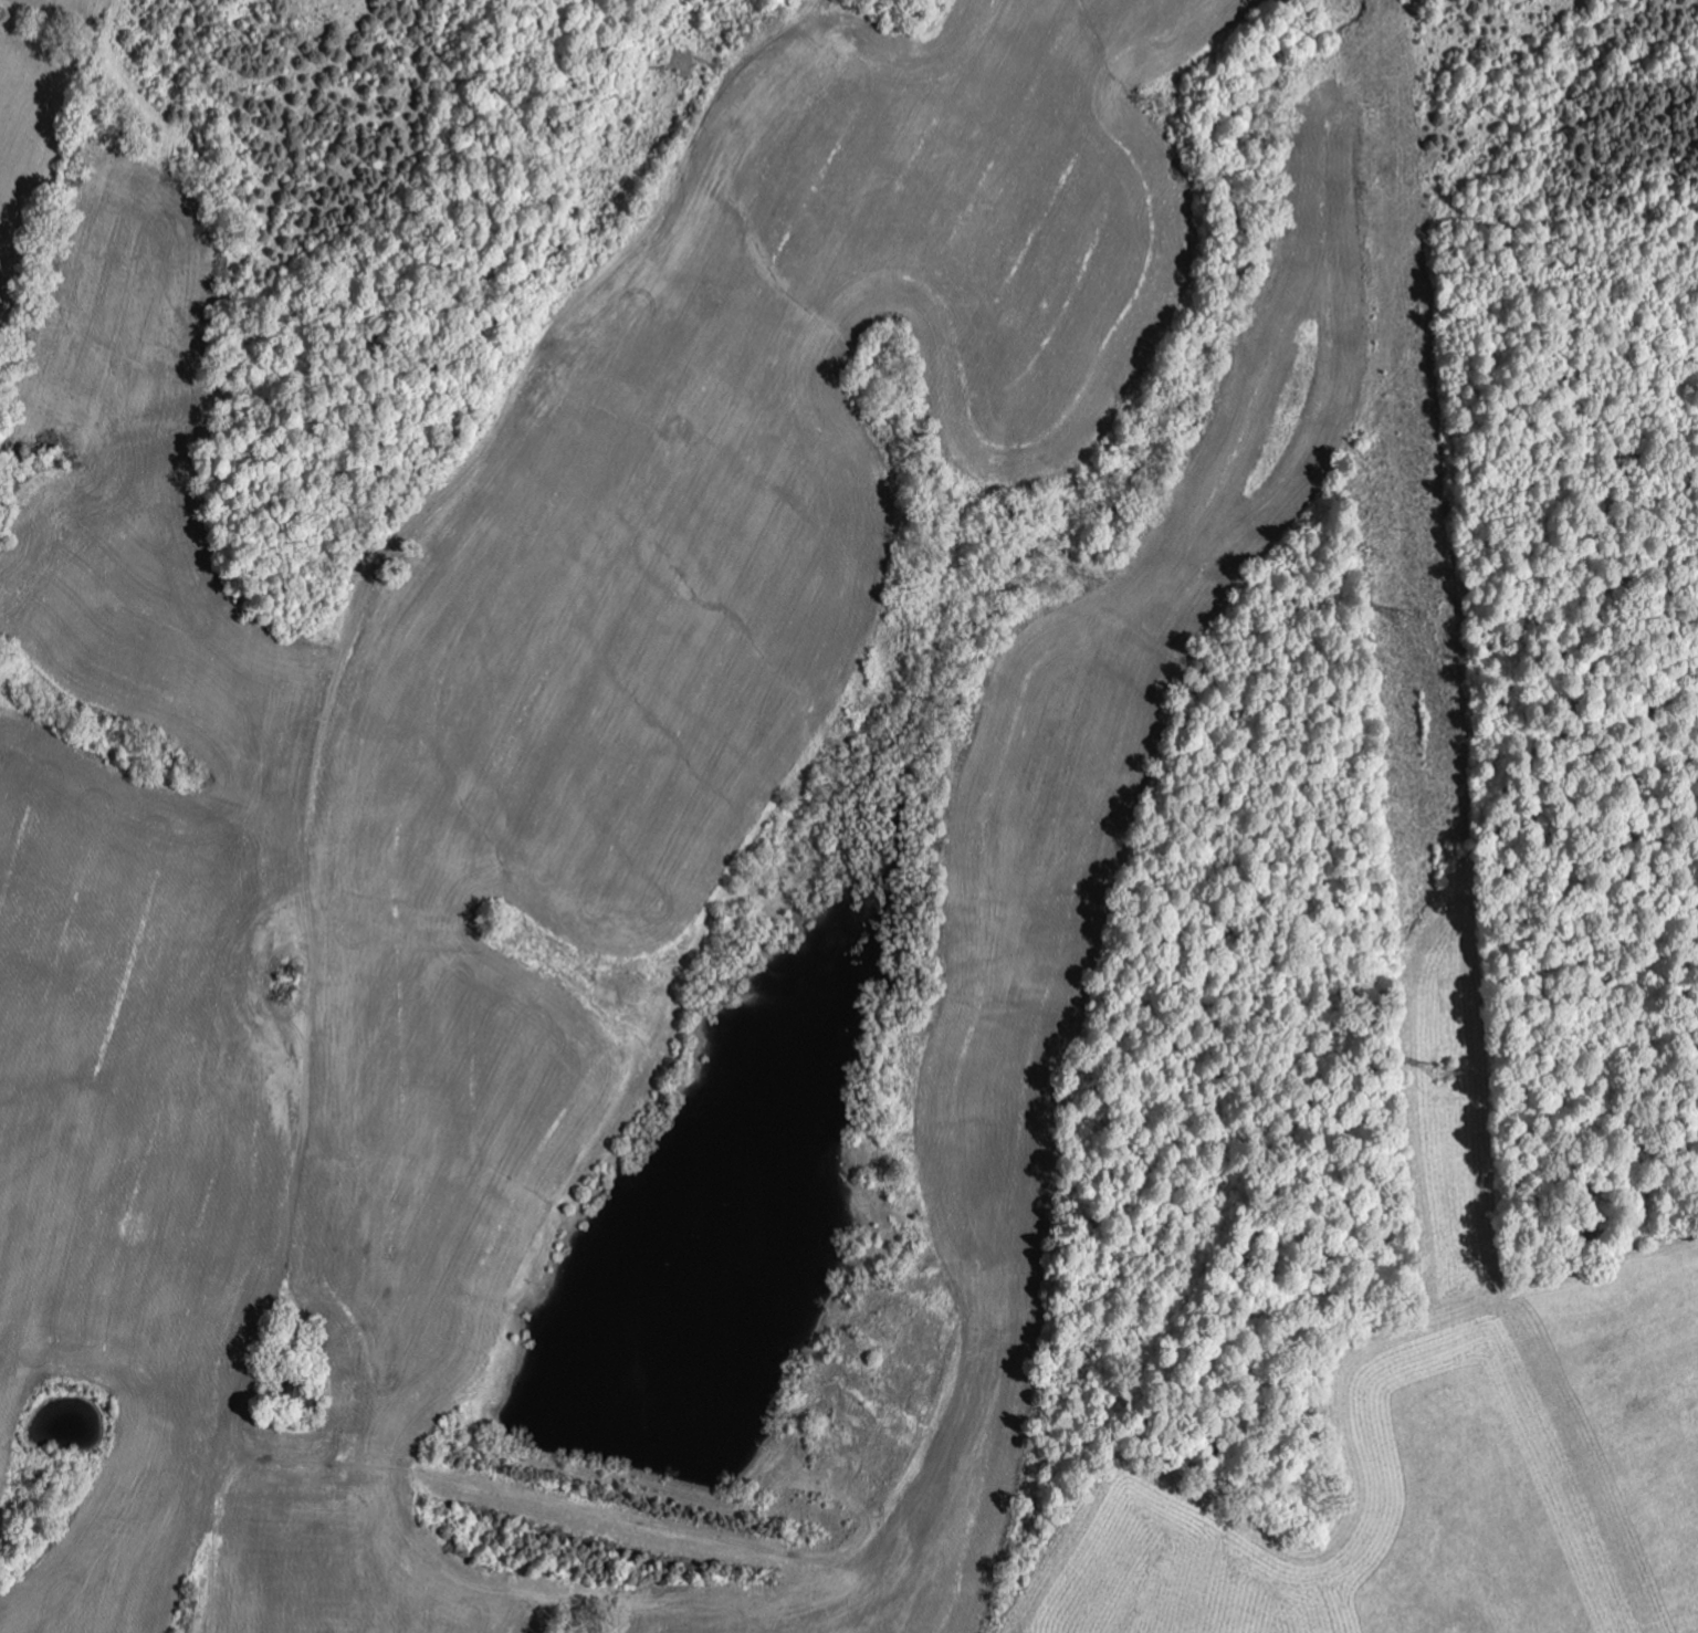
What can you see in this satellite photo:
road: (325, 734)

